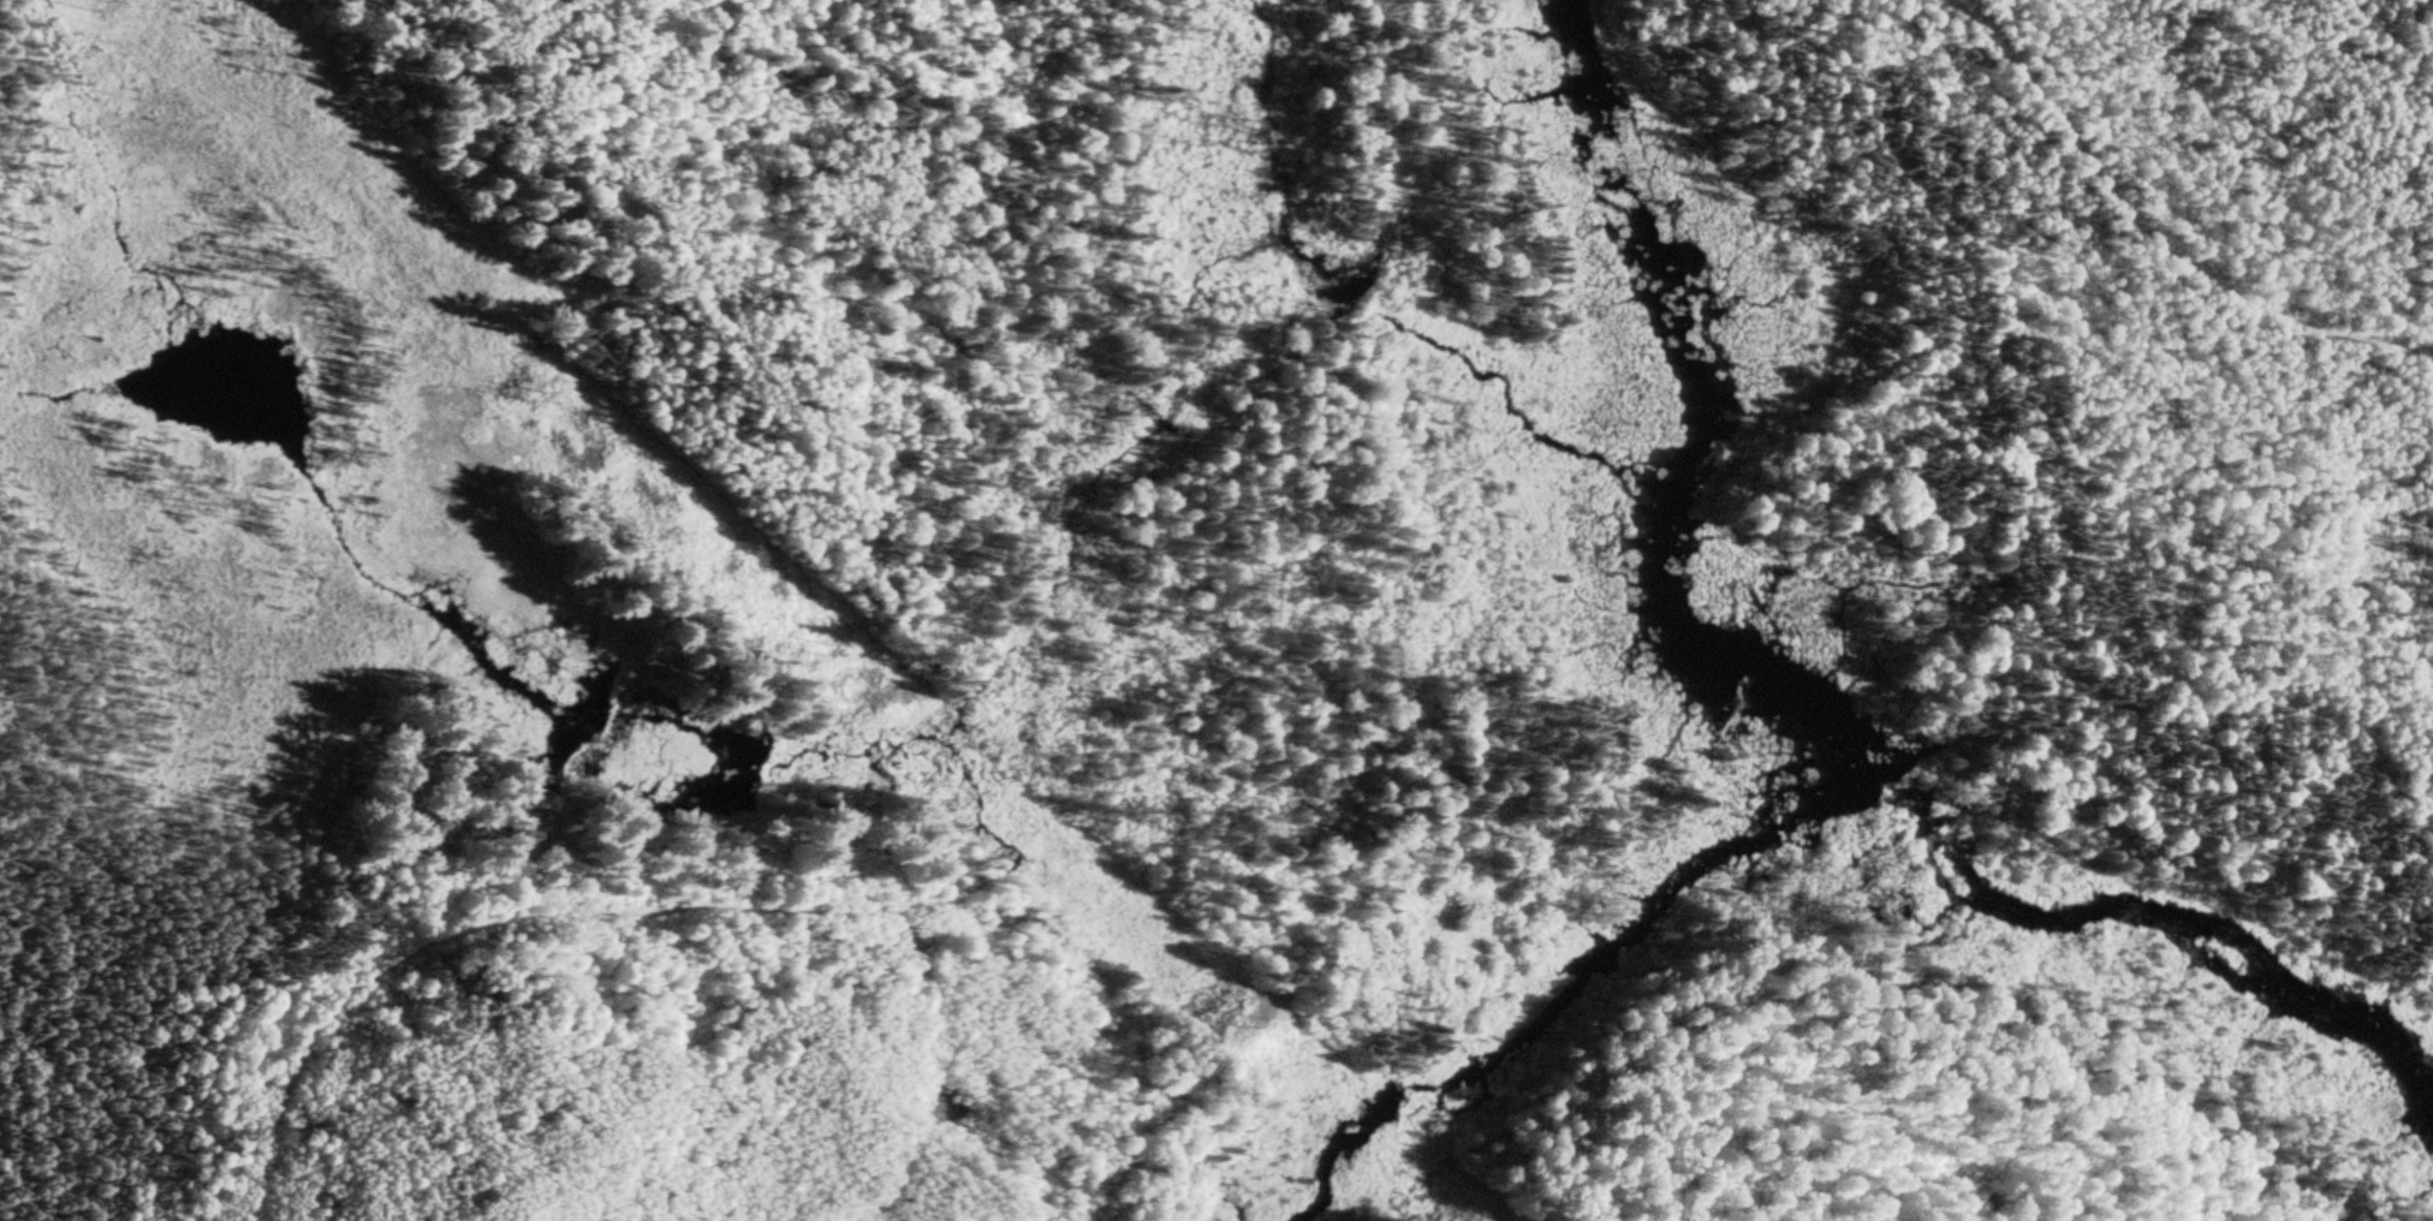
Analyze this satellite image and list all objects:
river: (1646, 246)
river: (1660, 486)
river: (1697, 659)
river: (1836, 776)
river: (2134, 912)
power tower: (1457, 1204)

